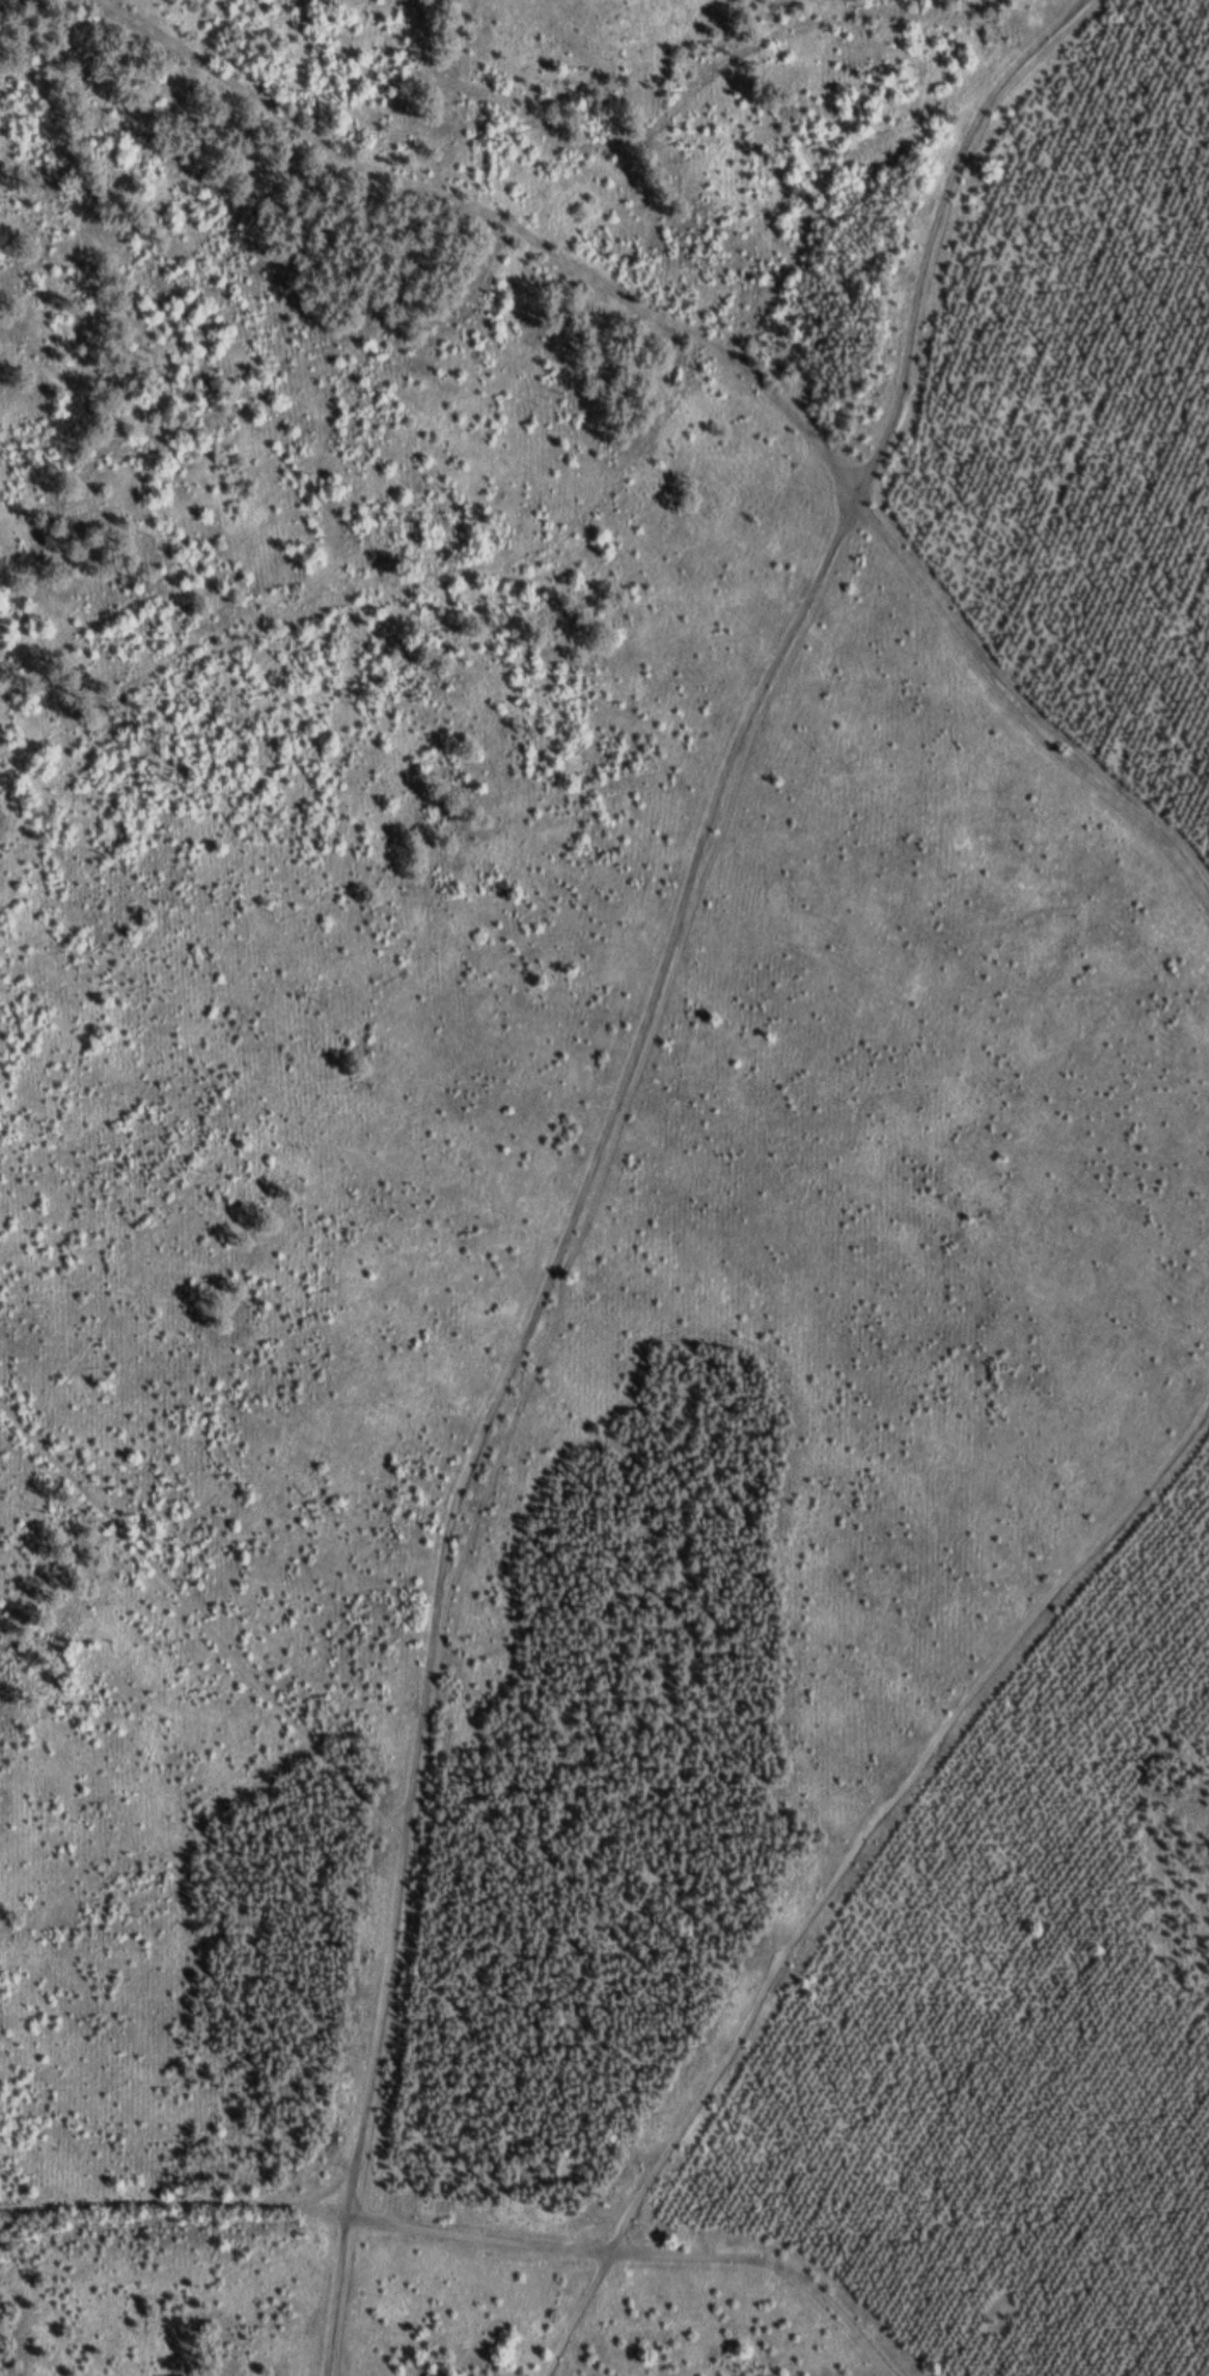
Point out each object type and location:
road: (732, 360)
road: (591, 1150)
road: (847, 1867)
road: (469, 2234)

